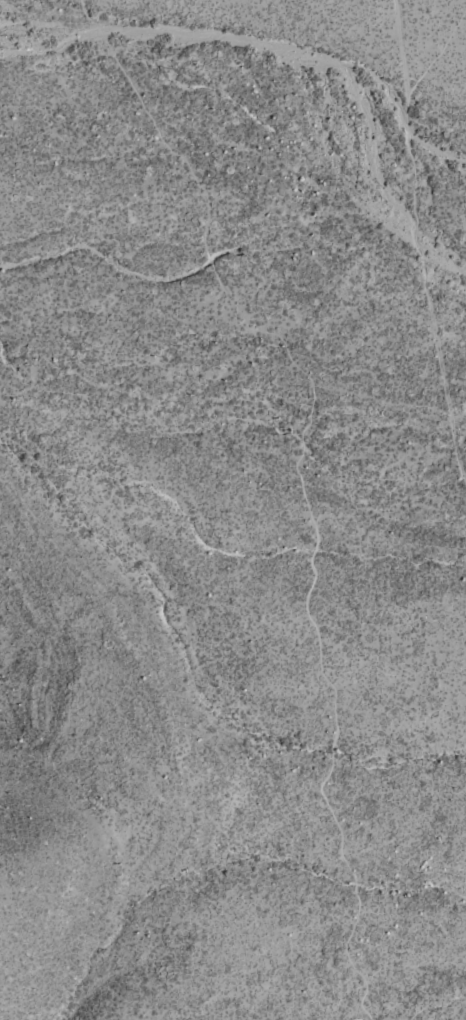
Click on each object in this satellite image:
road: (398, 53)
road: (420, 242)
road: (300, 476)

